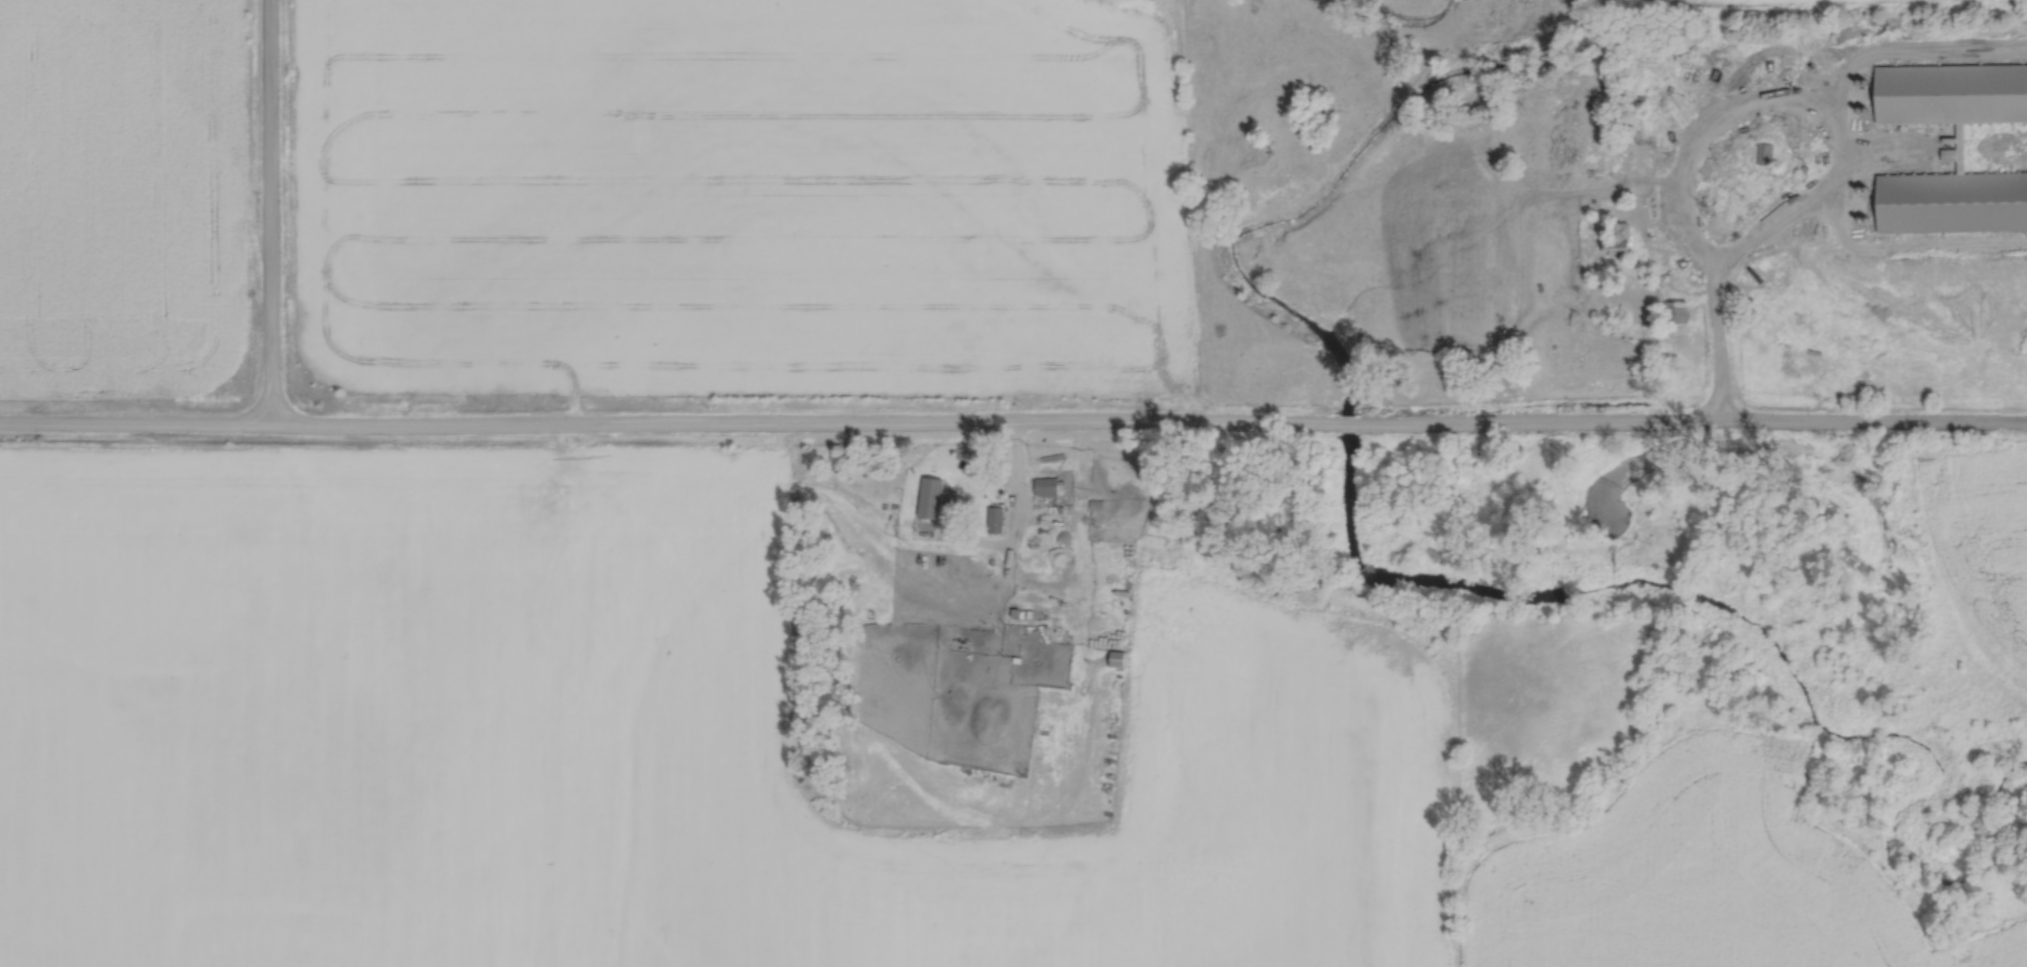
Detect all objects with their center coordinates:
building: (1952, 90)
building: (1765, 149)
building: (1953, 198)
road: (268, 212)
building: (1621, 236)
road: (1704, 257)
building: (1688, 258)
building: (1678, 308)
road: (1723, 360)
road: (1013, 423)
building: (1047, 483)
building: (932, 498)
building: (994, 516)

